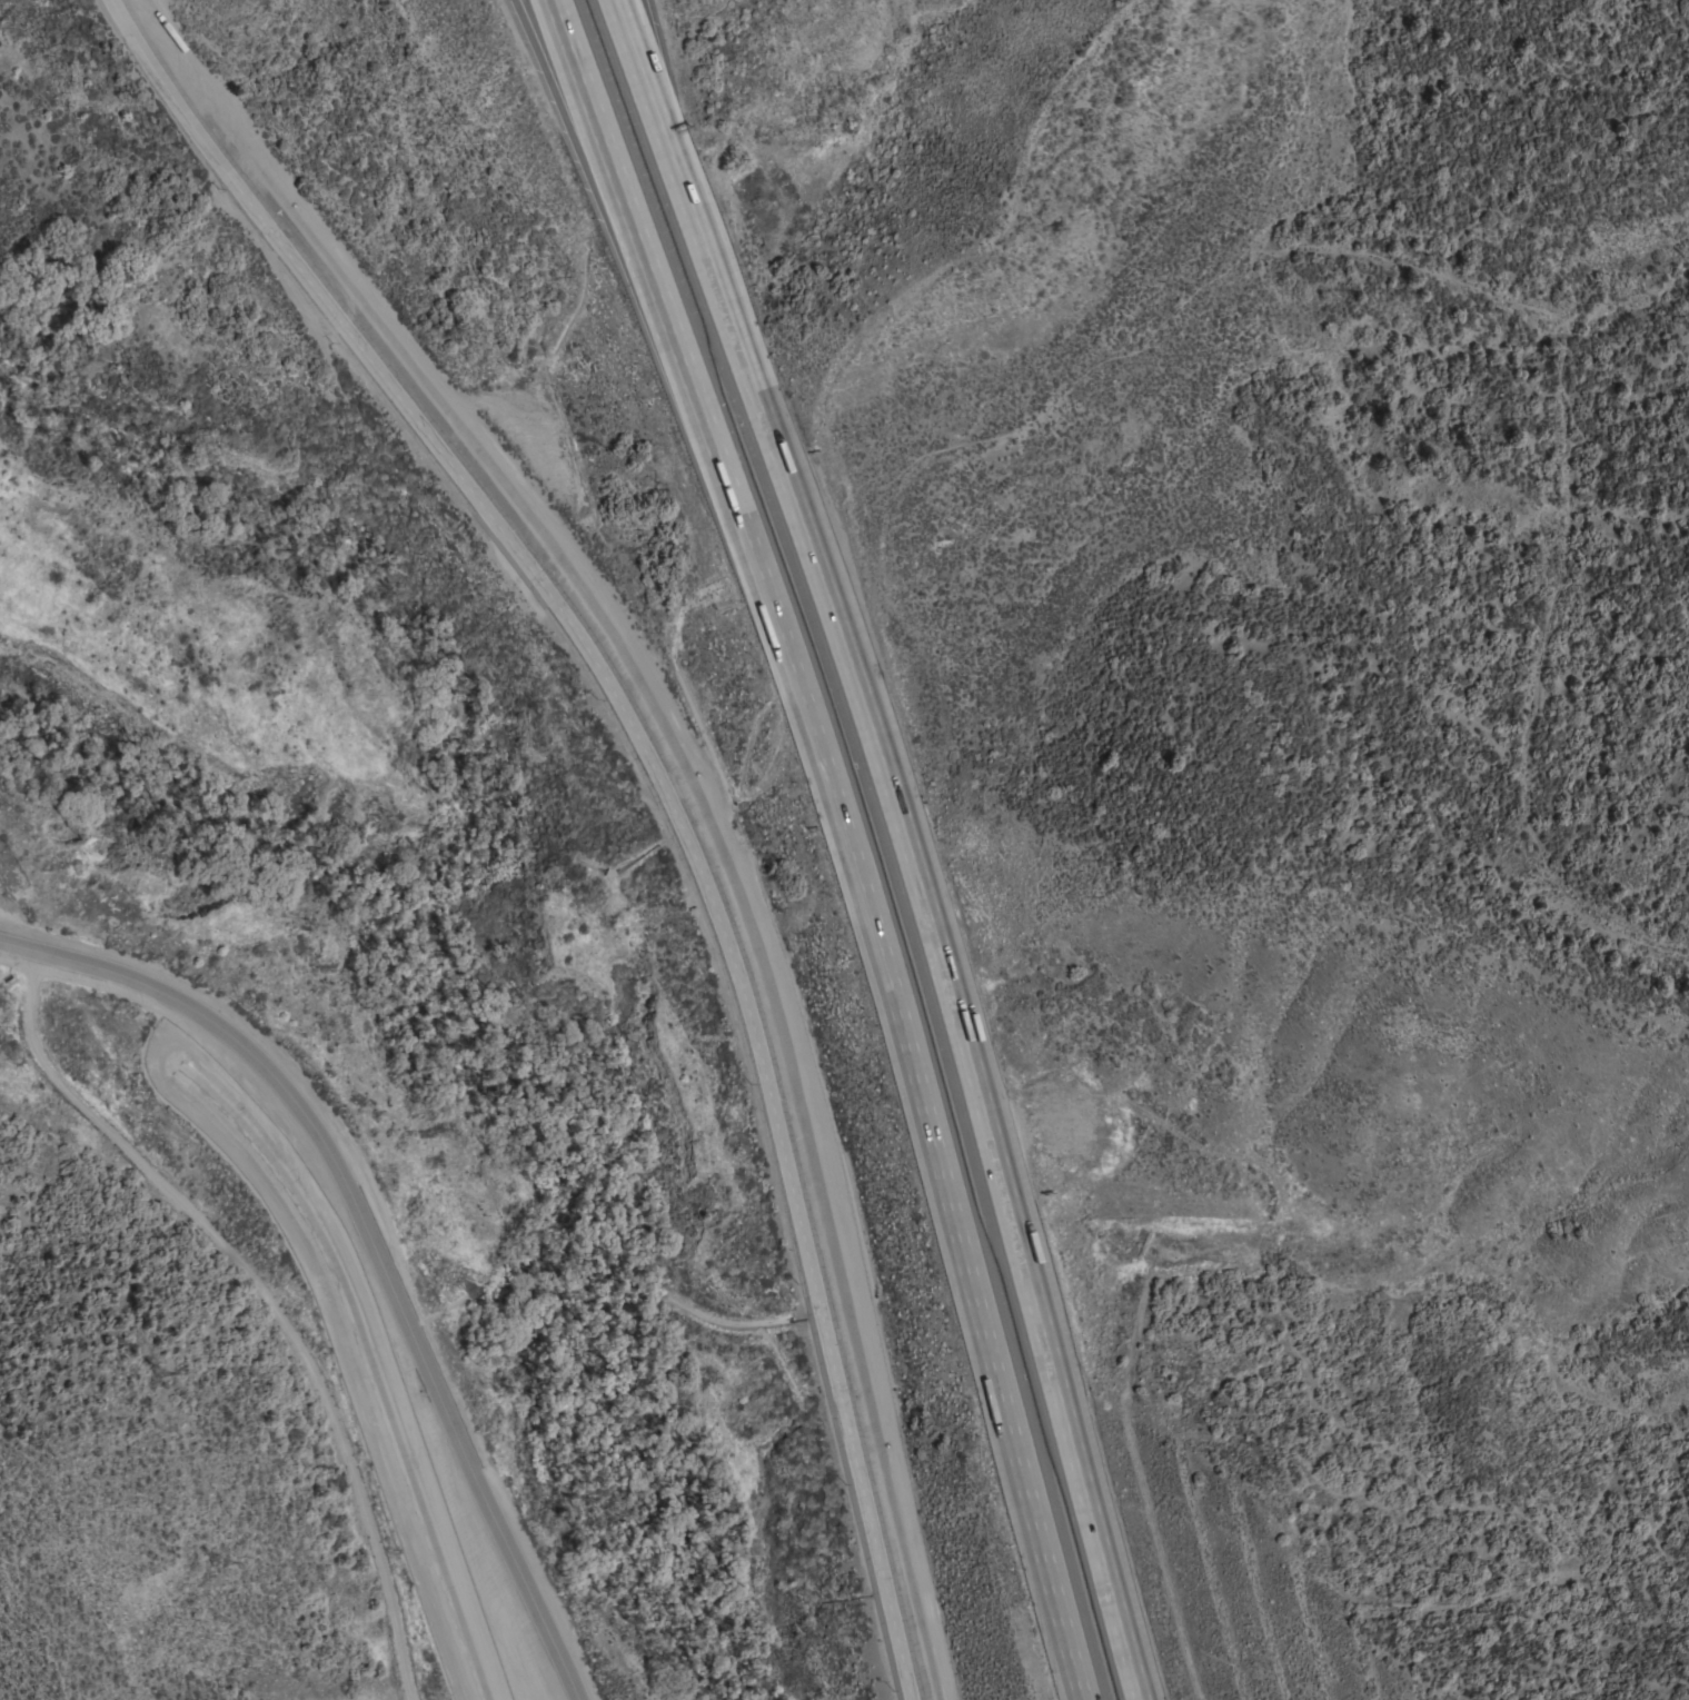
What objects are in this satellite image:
road: (649, 20)
road: (653, 100)
road: (672, 120)
road: (630, 258)
road: (644, 259)
road: (665, 779)
road: (732, 836)
road: (937, 943)
road: (921, 1105)
road: (375, 1239)
power tower: (158, 1375)
power tower: (219, 1563)

